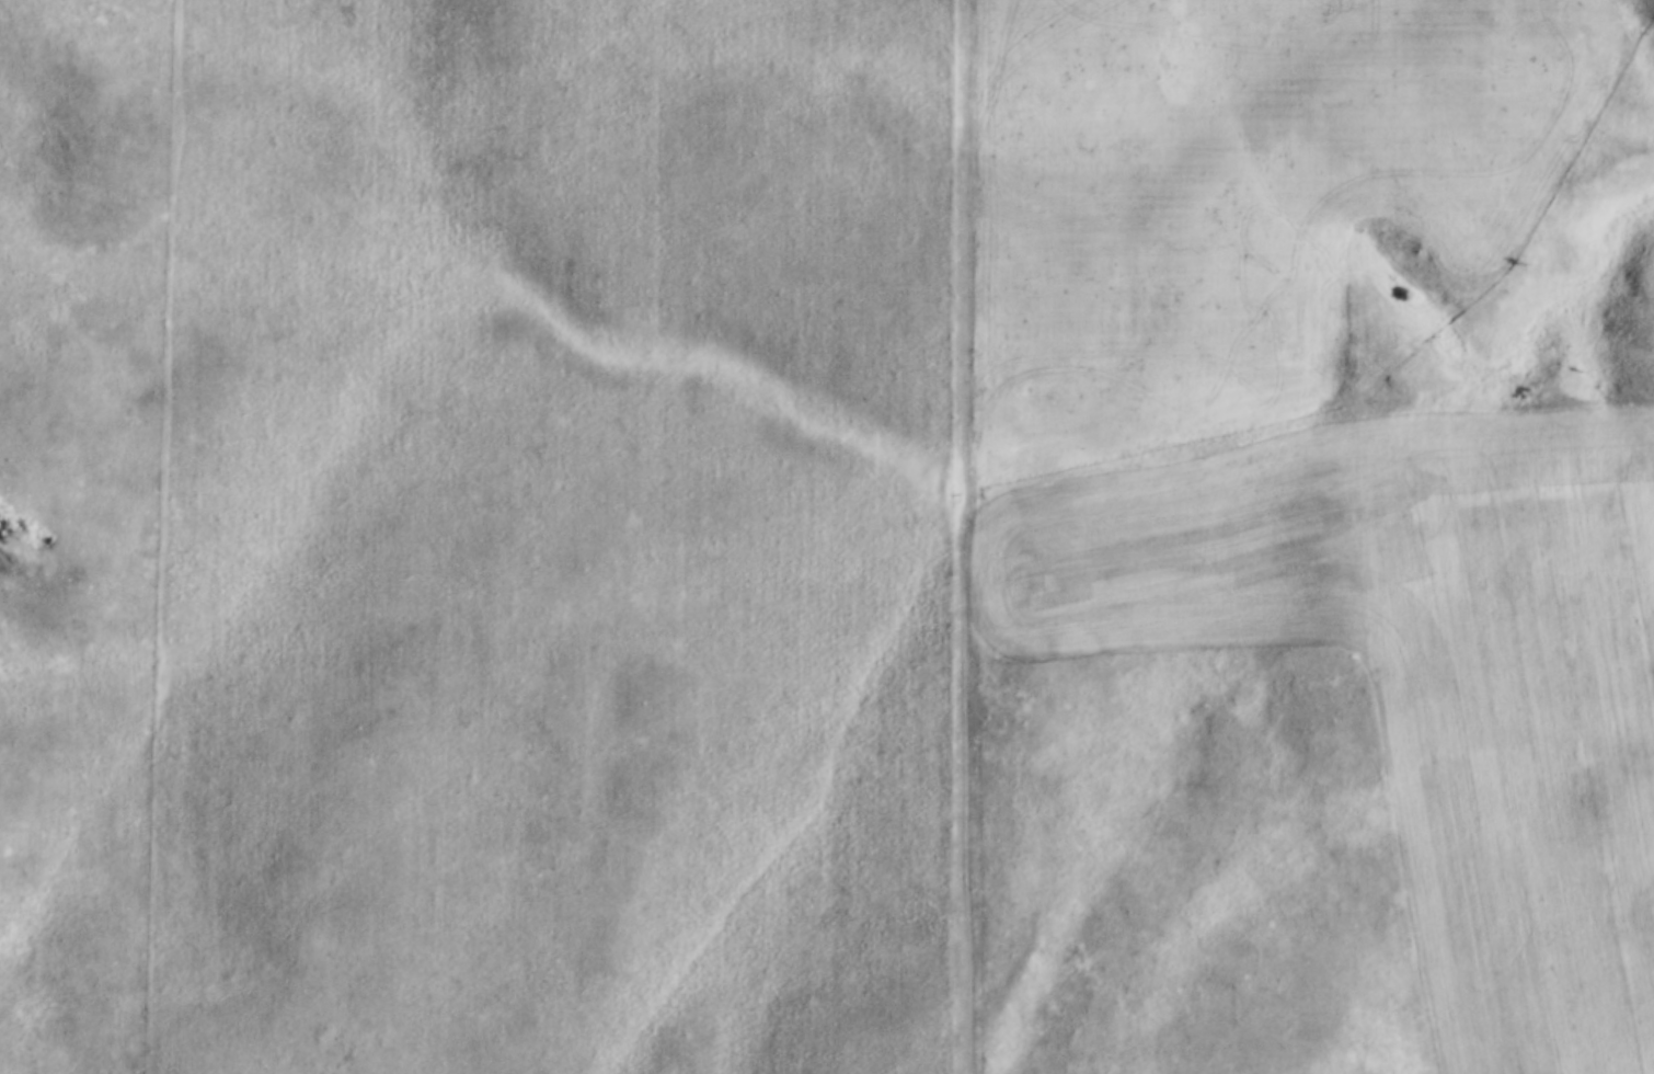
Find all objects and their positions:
road: (1346, 317)

